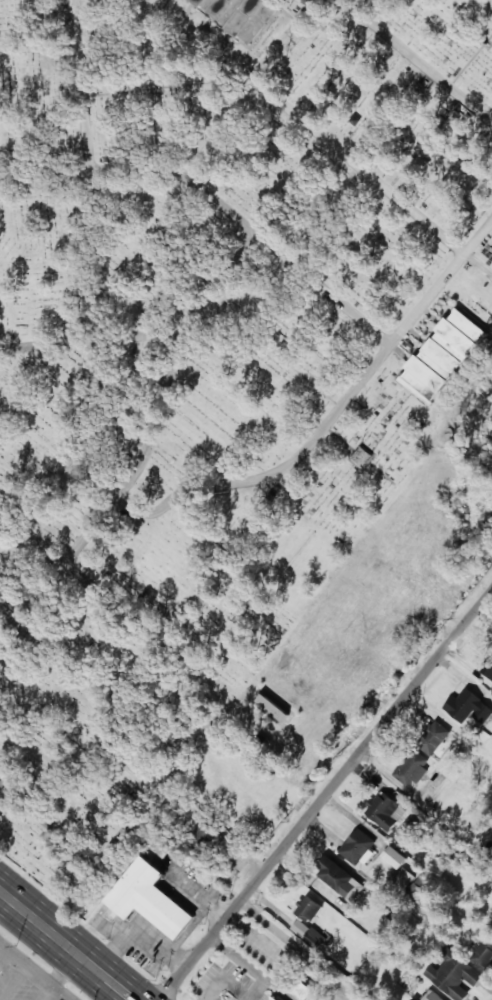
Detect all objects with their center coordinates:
road: (356, 3)
park: (482, 7)
building: (241, 15)
road: (50, 29)
road: (418, 61)
road: (244, 86)
road: (81, 98)
road: (215, 200)
road: (150, 333)
park: (210, 354)
building: (443, 356)
road: (331, 417)
building: (361, 457)
road: (114, 498)
building: (488, 668)
building: (271, 704)
building: (468, 707)
building: (264, 728)
building: (433, 738)
building: (411, 771)
road: (327, 796)
building: (385, 811)
building: (203, 834)
building: (359, 847)
building: (394, 857)
building: (404, 878)
building: (340, 879)
road: (3, 895)
building: (149, 899)
building: (309, 909)
building: (314, 938)
road: (70, 943)
building: (483, 953)
road: (67, 968)
road: (35, 970)
building: (453, 974)
building: (303, 991)
building: (431, 996)
building: (277, 999)

